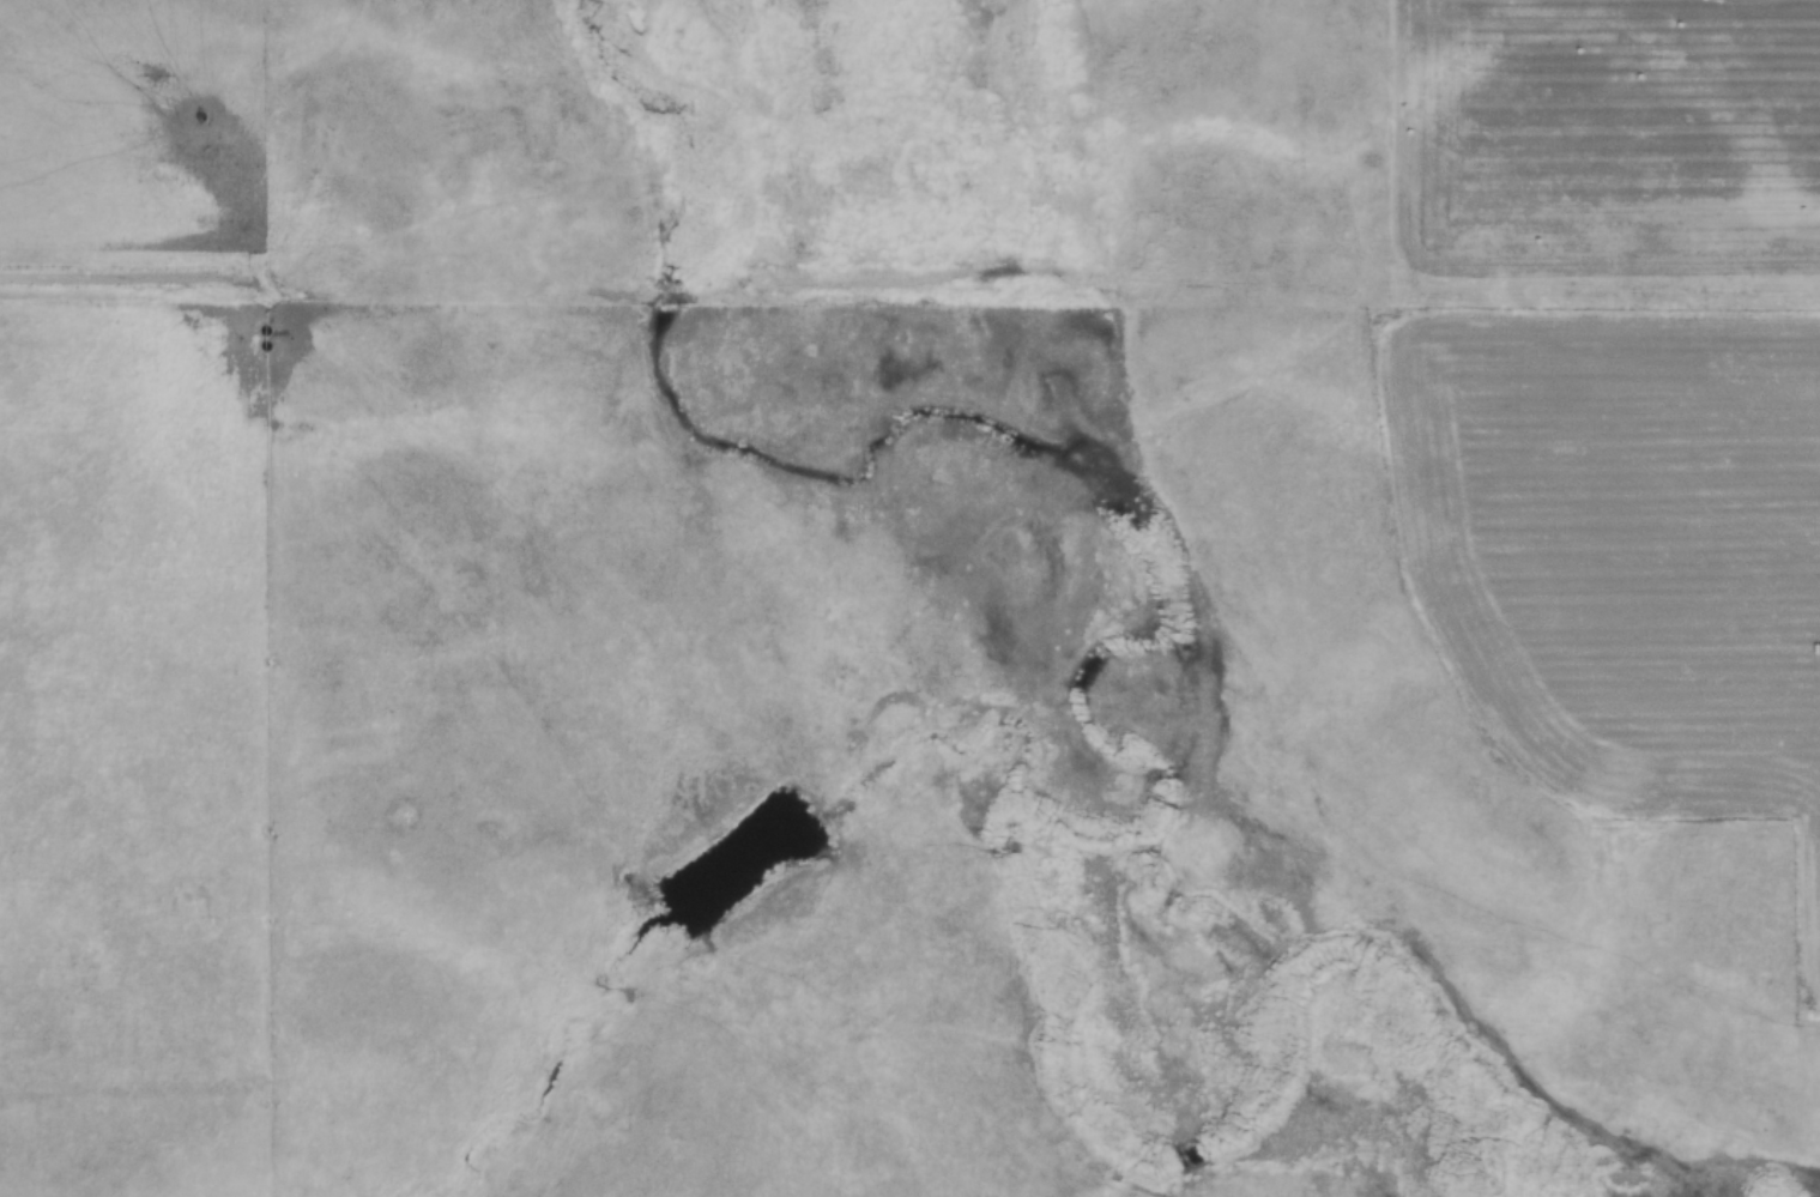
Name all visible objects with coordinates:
road: (909, 363)

